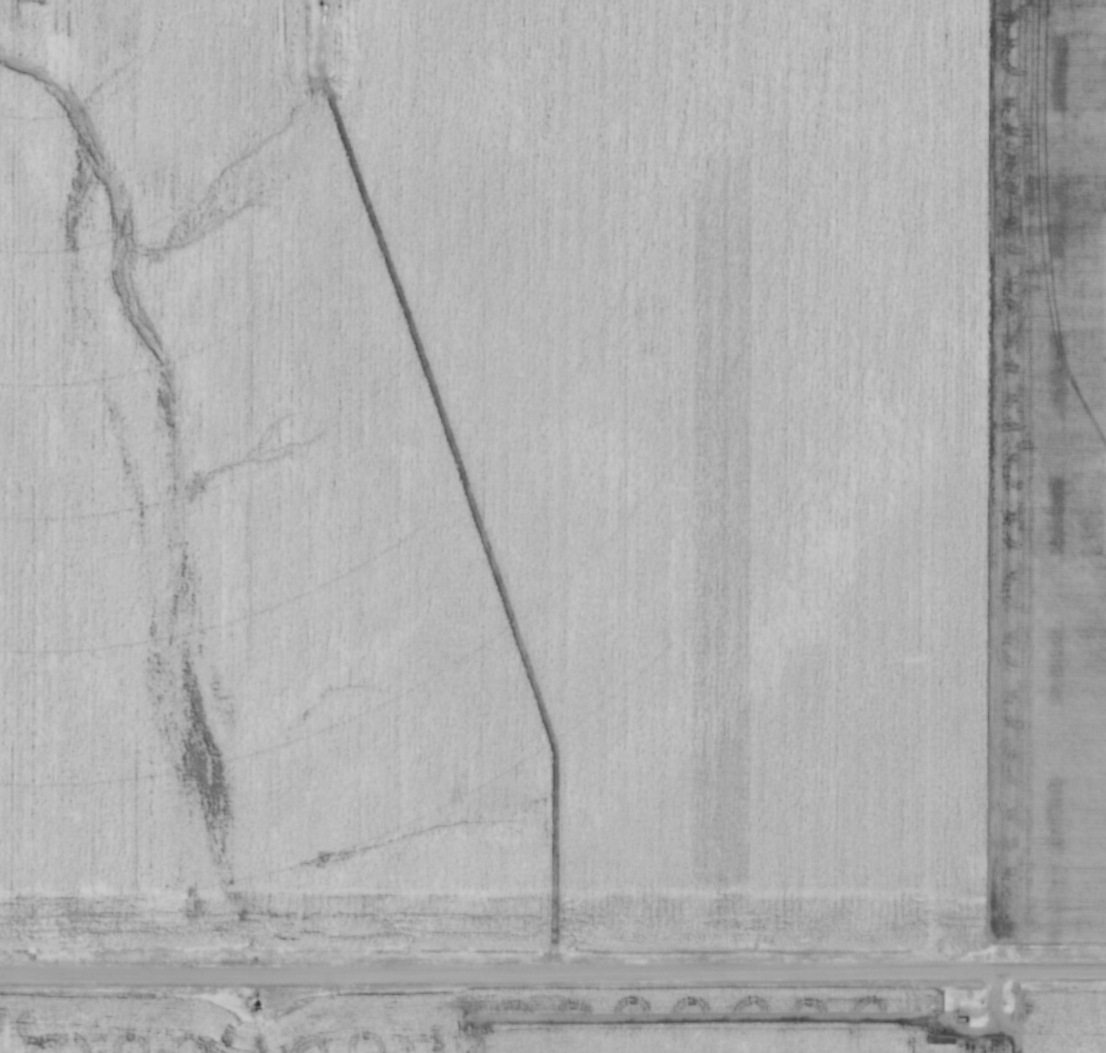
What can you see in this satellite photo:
road: (552, 975)

